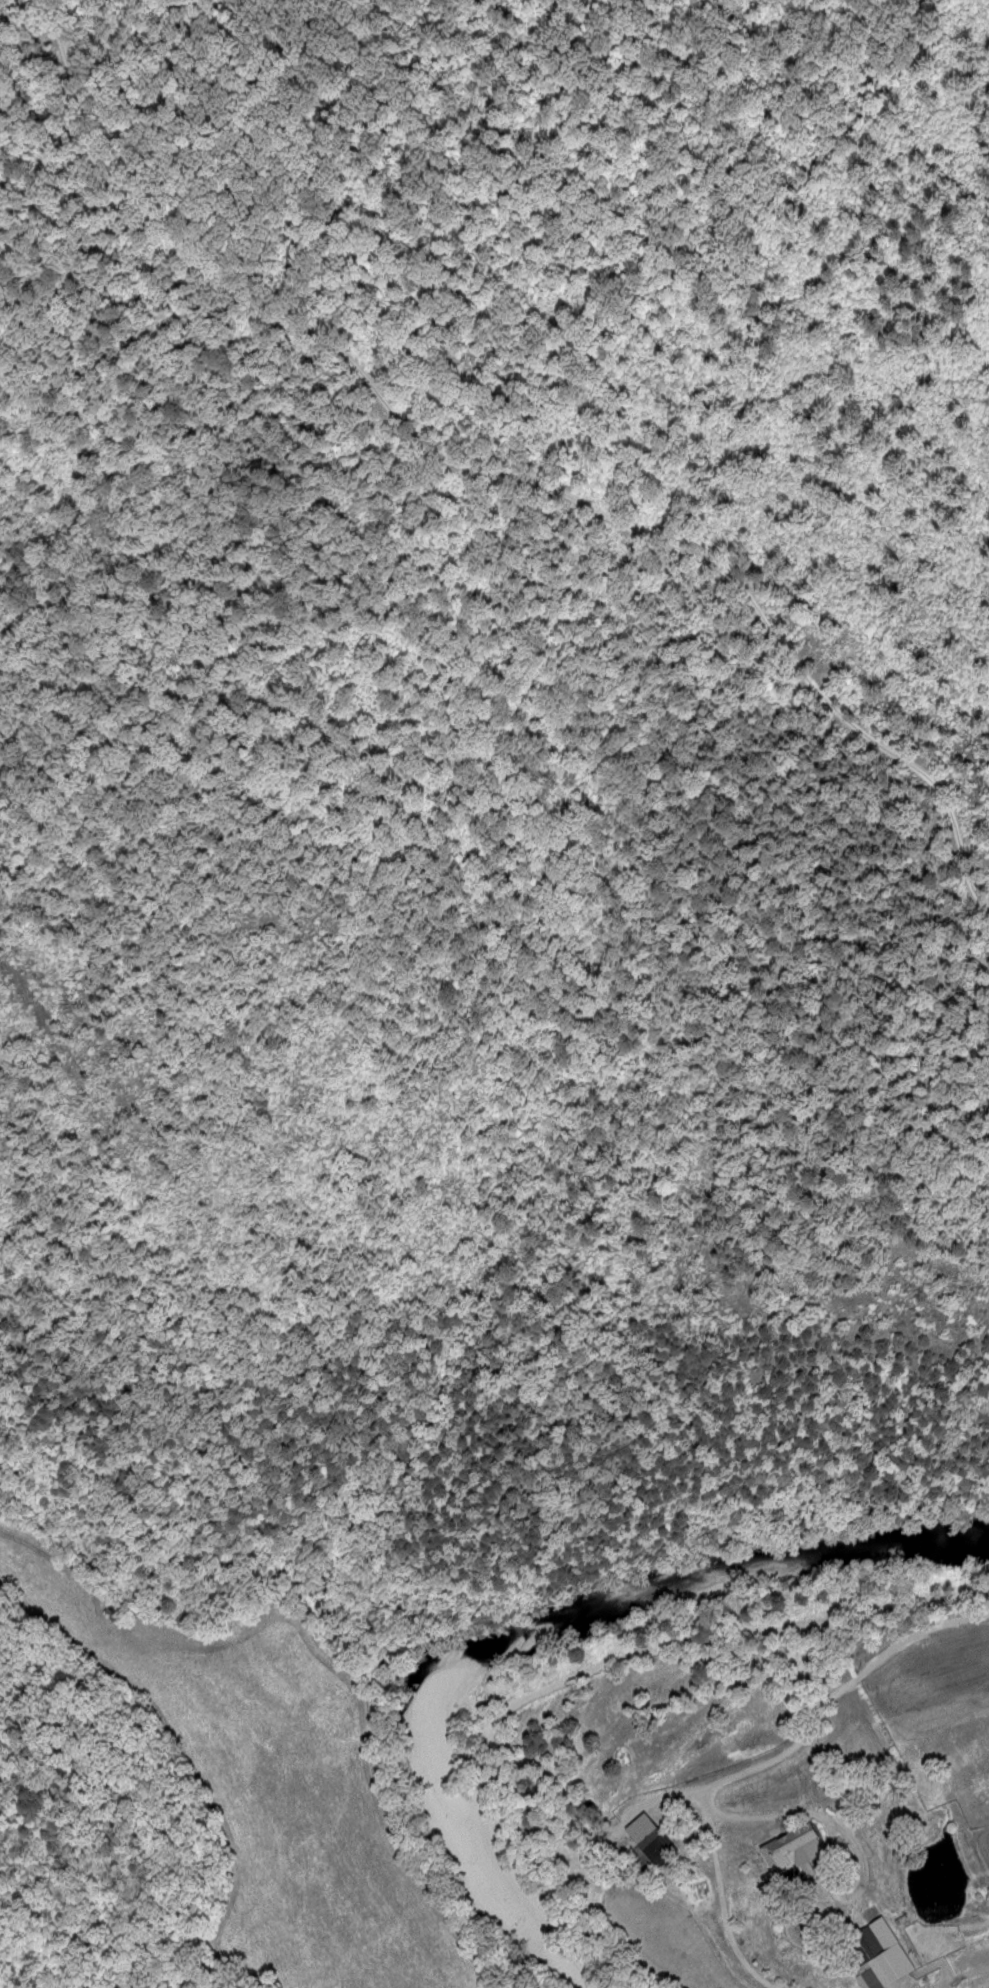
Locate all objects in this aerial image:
road: (494, 477)
road: (709, 1755)
building: (661, 1839)
building: (803, 1852)
building: (894, 1958)

